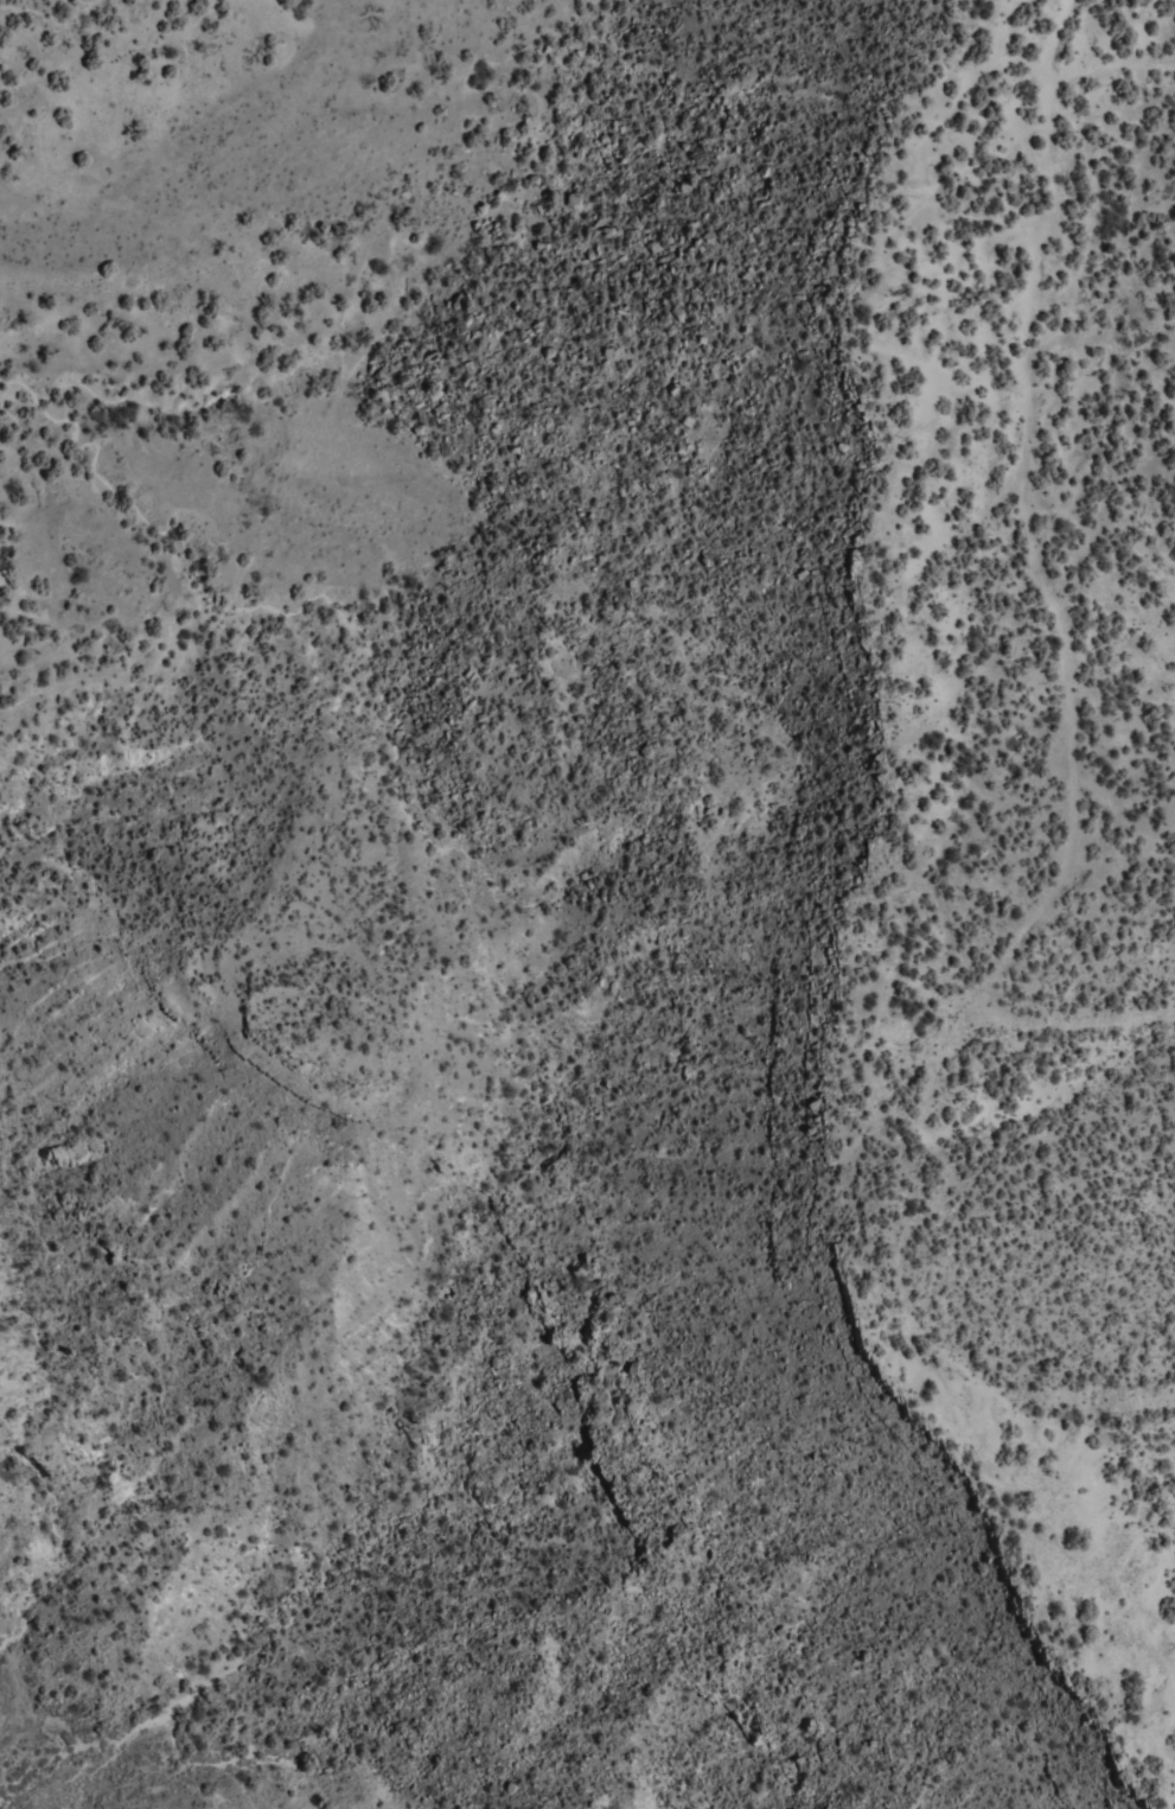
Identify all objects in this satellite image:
road: (1052, 406)
road: (937, 1127)

